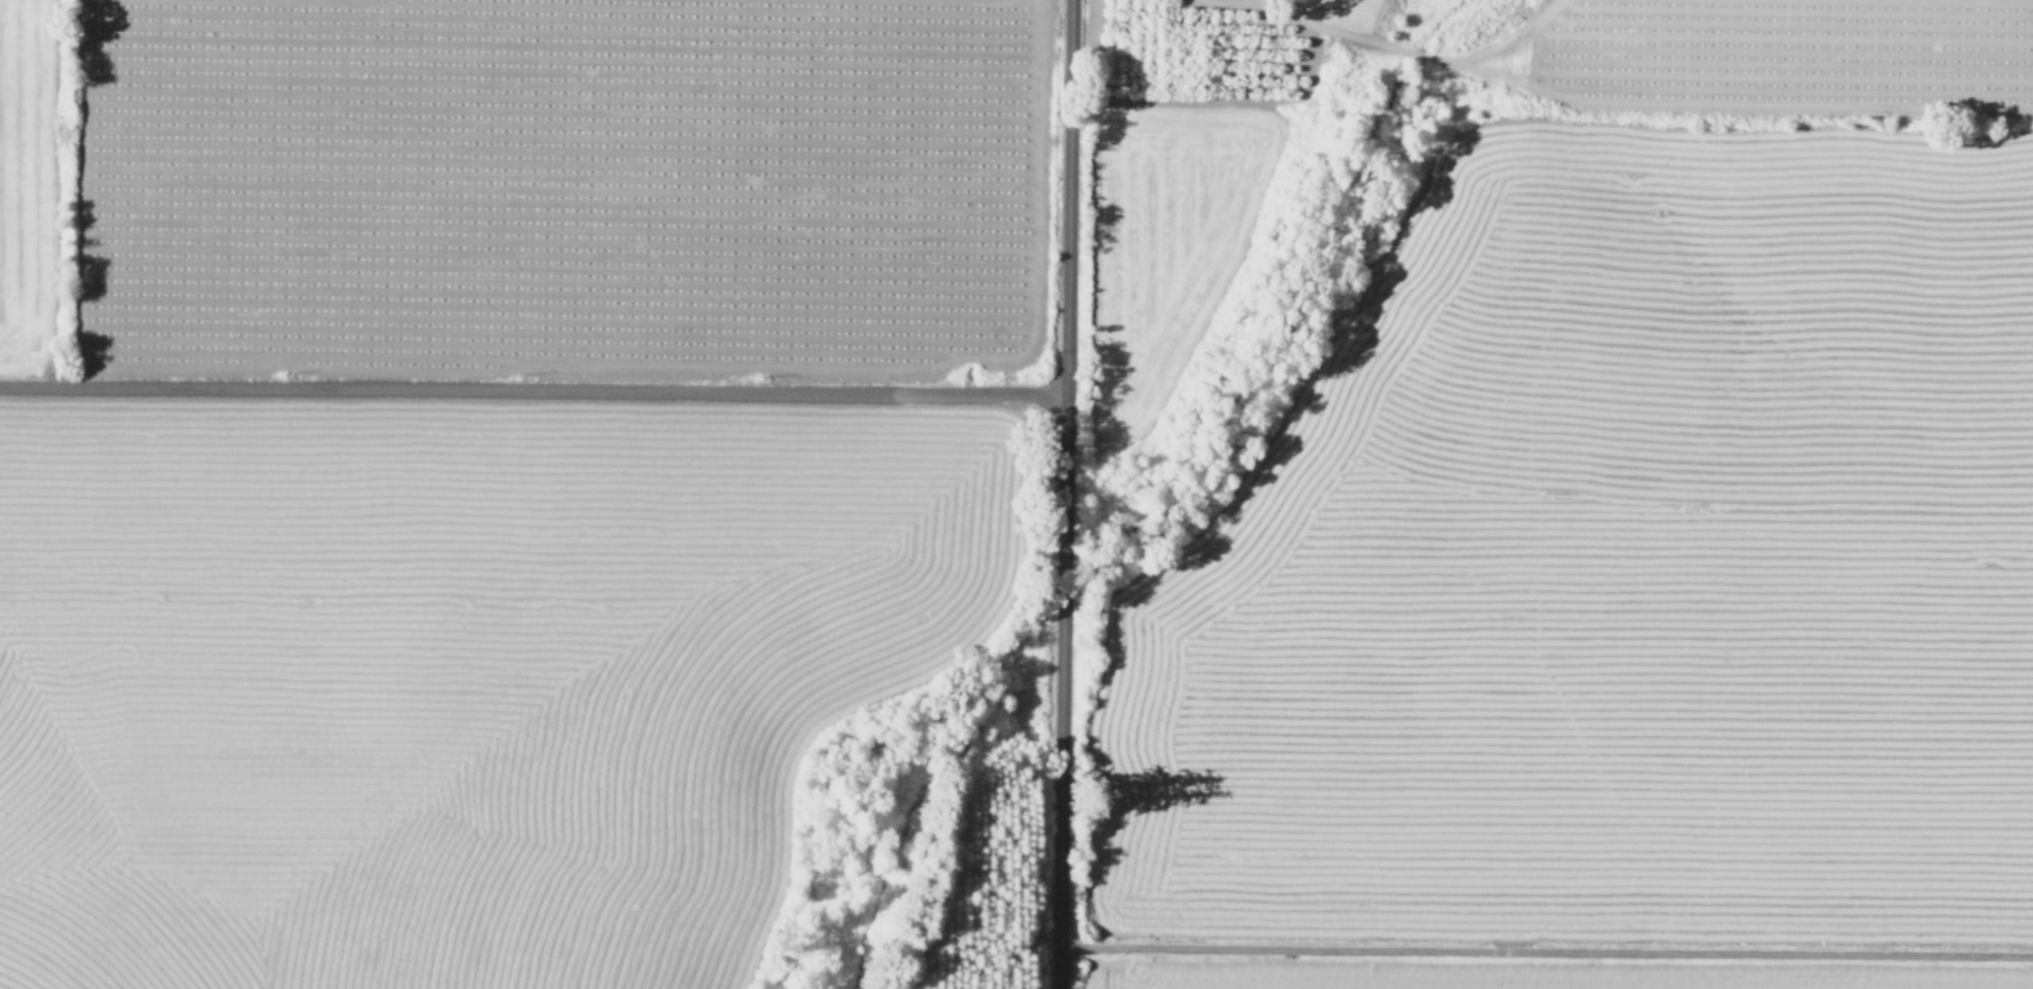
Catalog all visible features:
road: (532, 386)
road: (1063, 494)
crop: (1560, 553)
crop: (411, 655)
road: (1545, 950)

